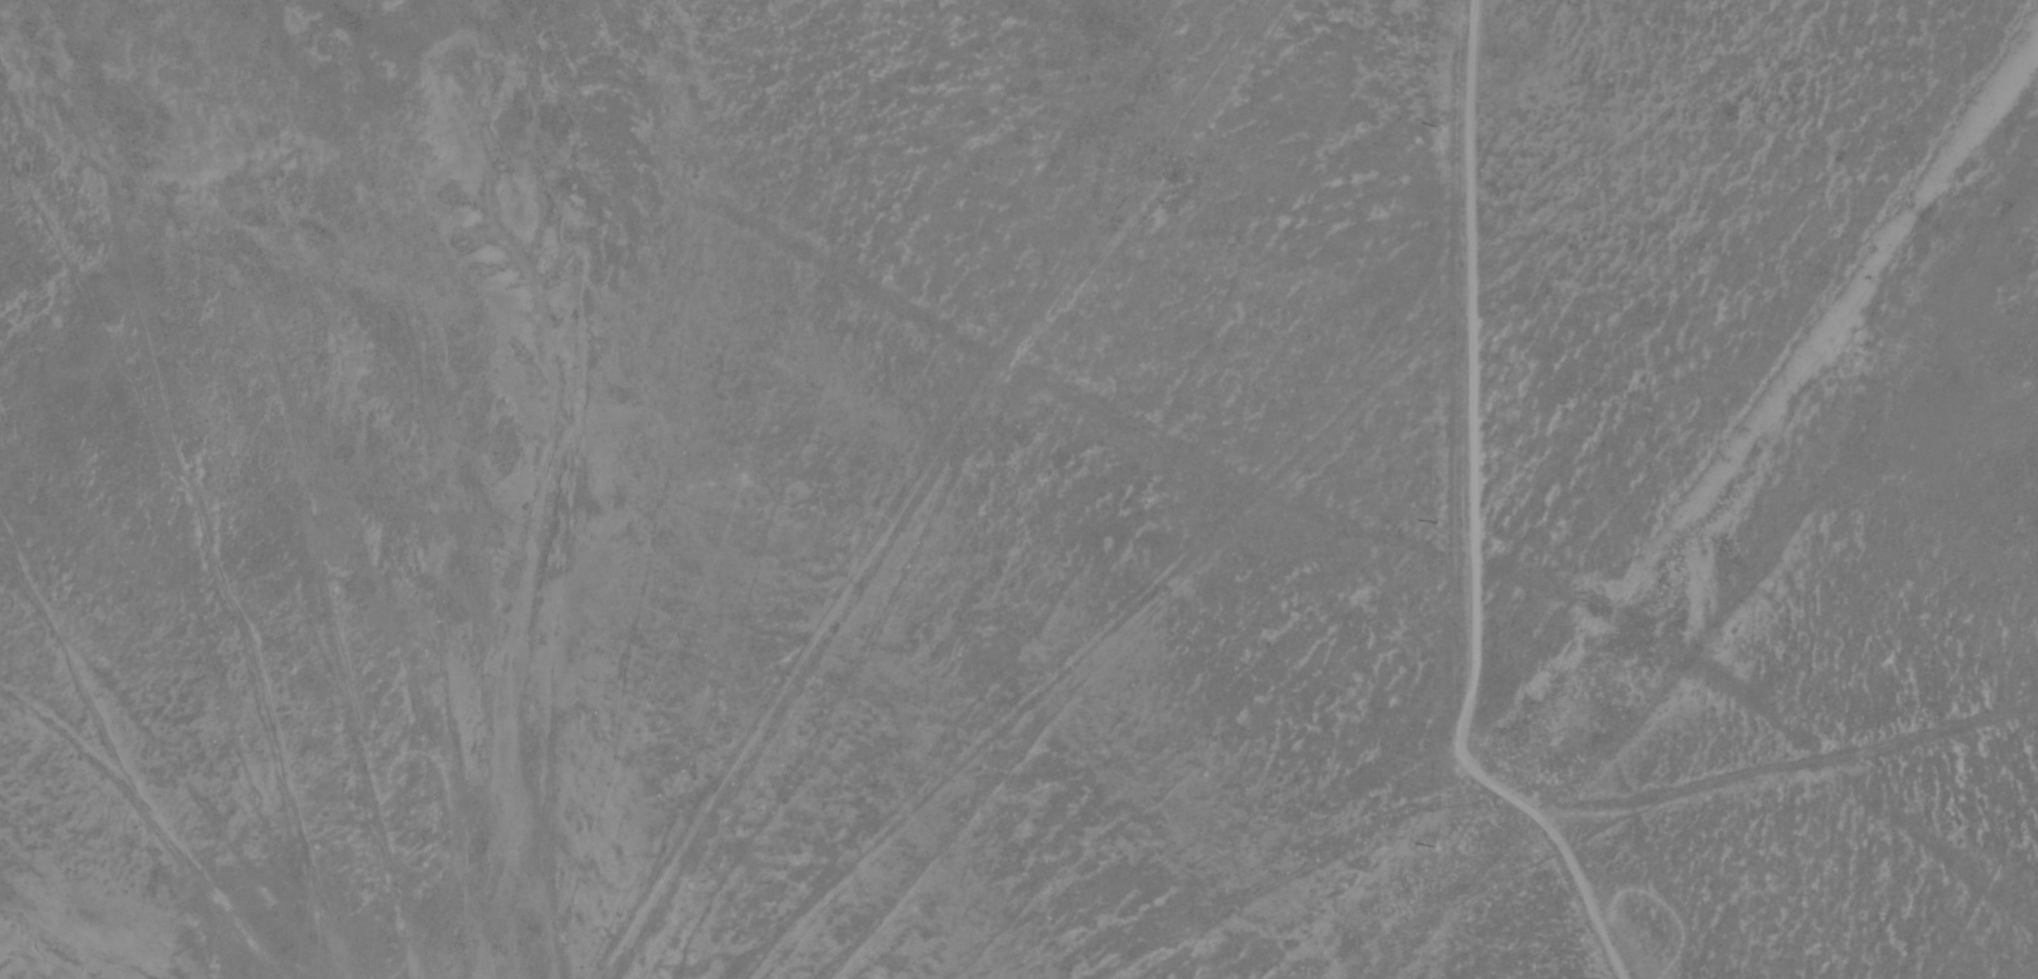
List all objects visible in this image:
road: (1425, 510)
road: (1700, 538)

